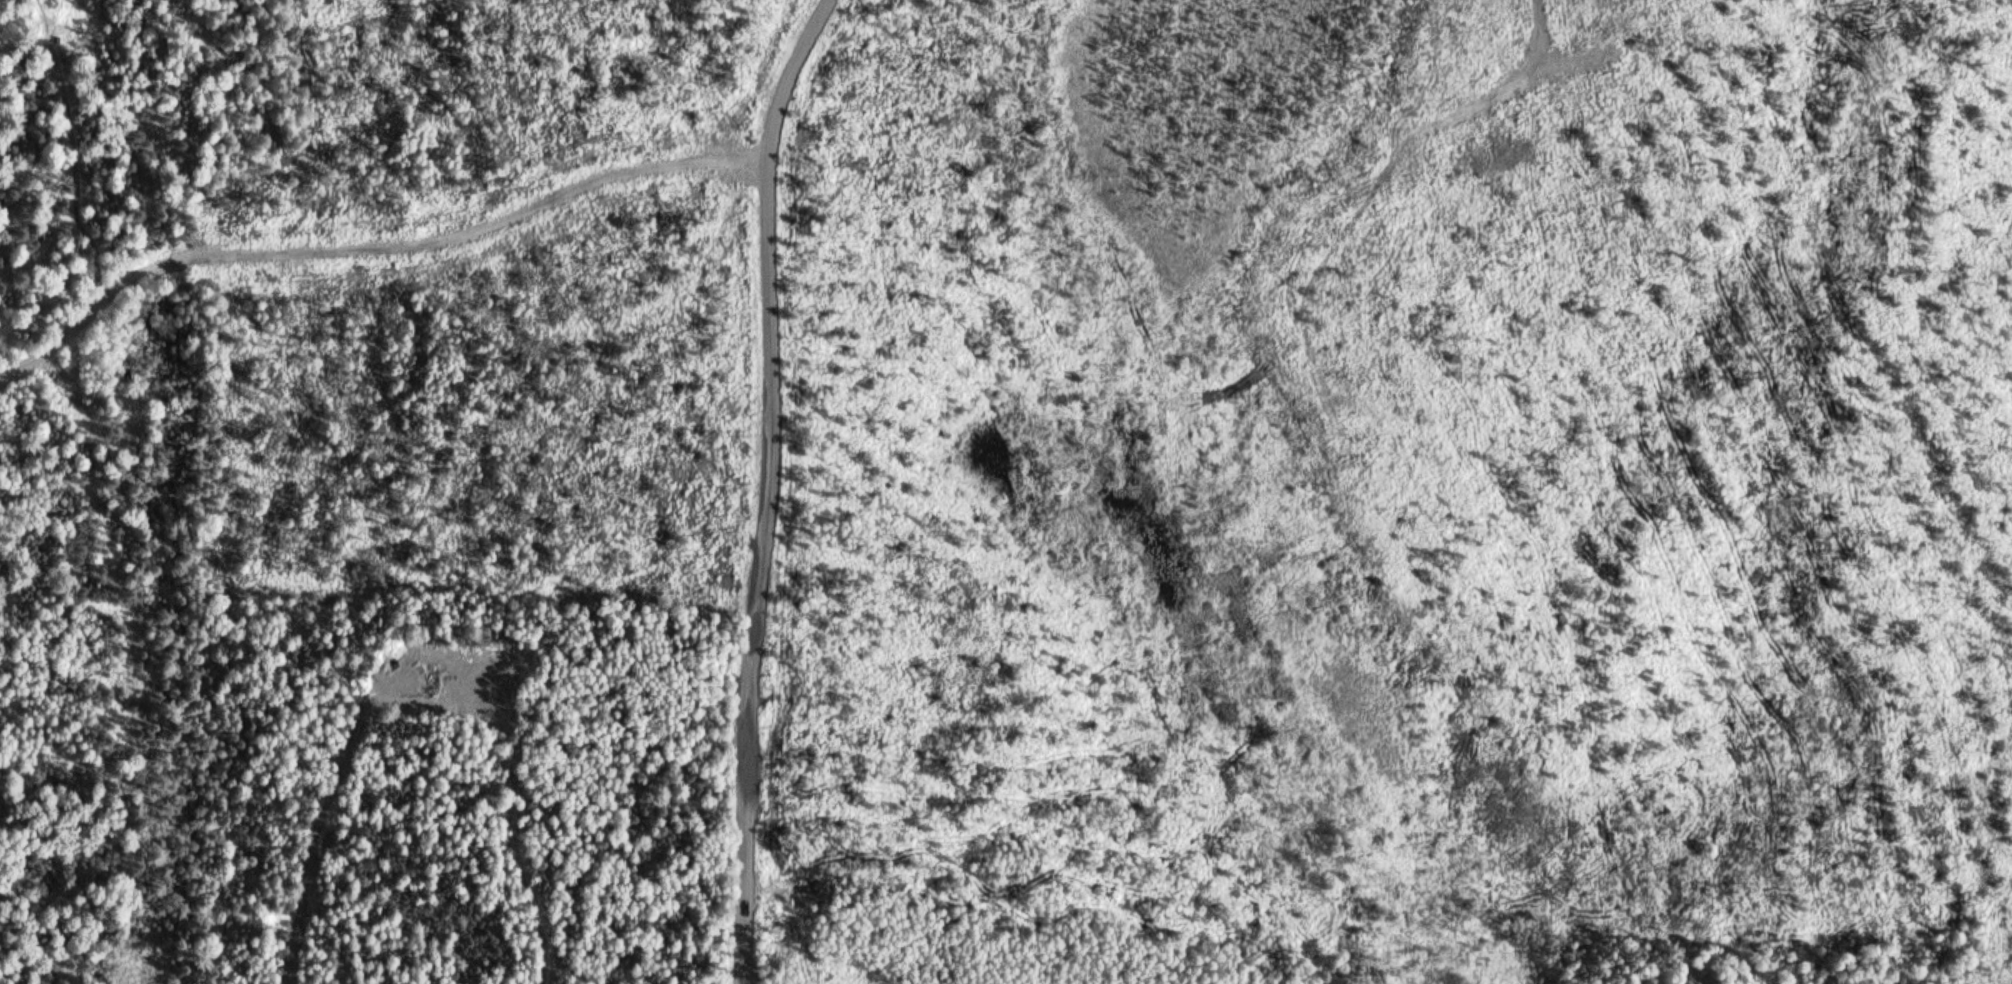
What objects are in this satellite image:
road: (627, 427)
road: (762, 484)

